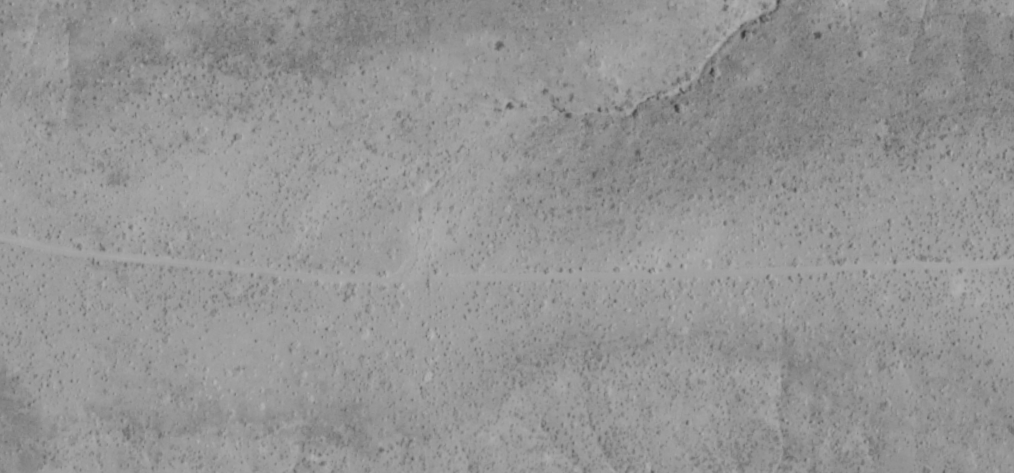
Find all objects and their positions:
road: (505, 283)

